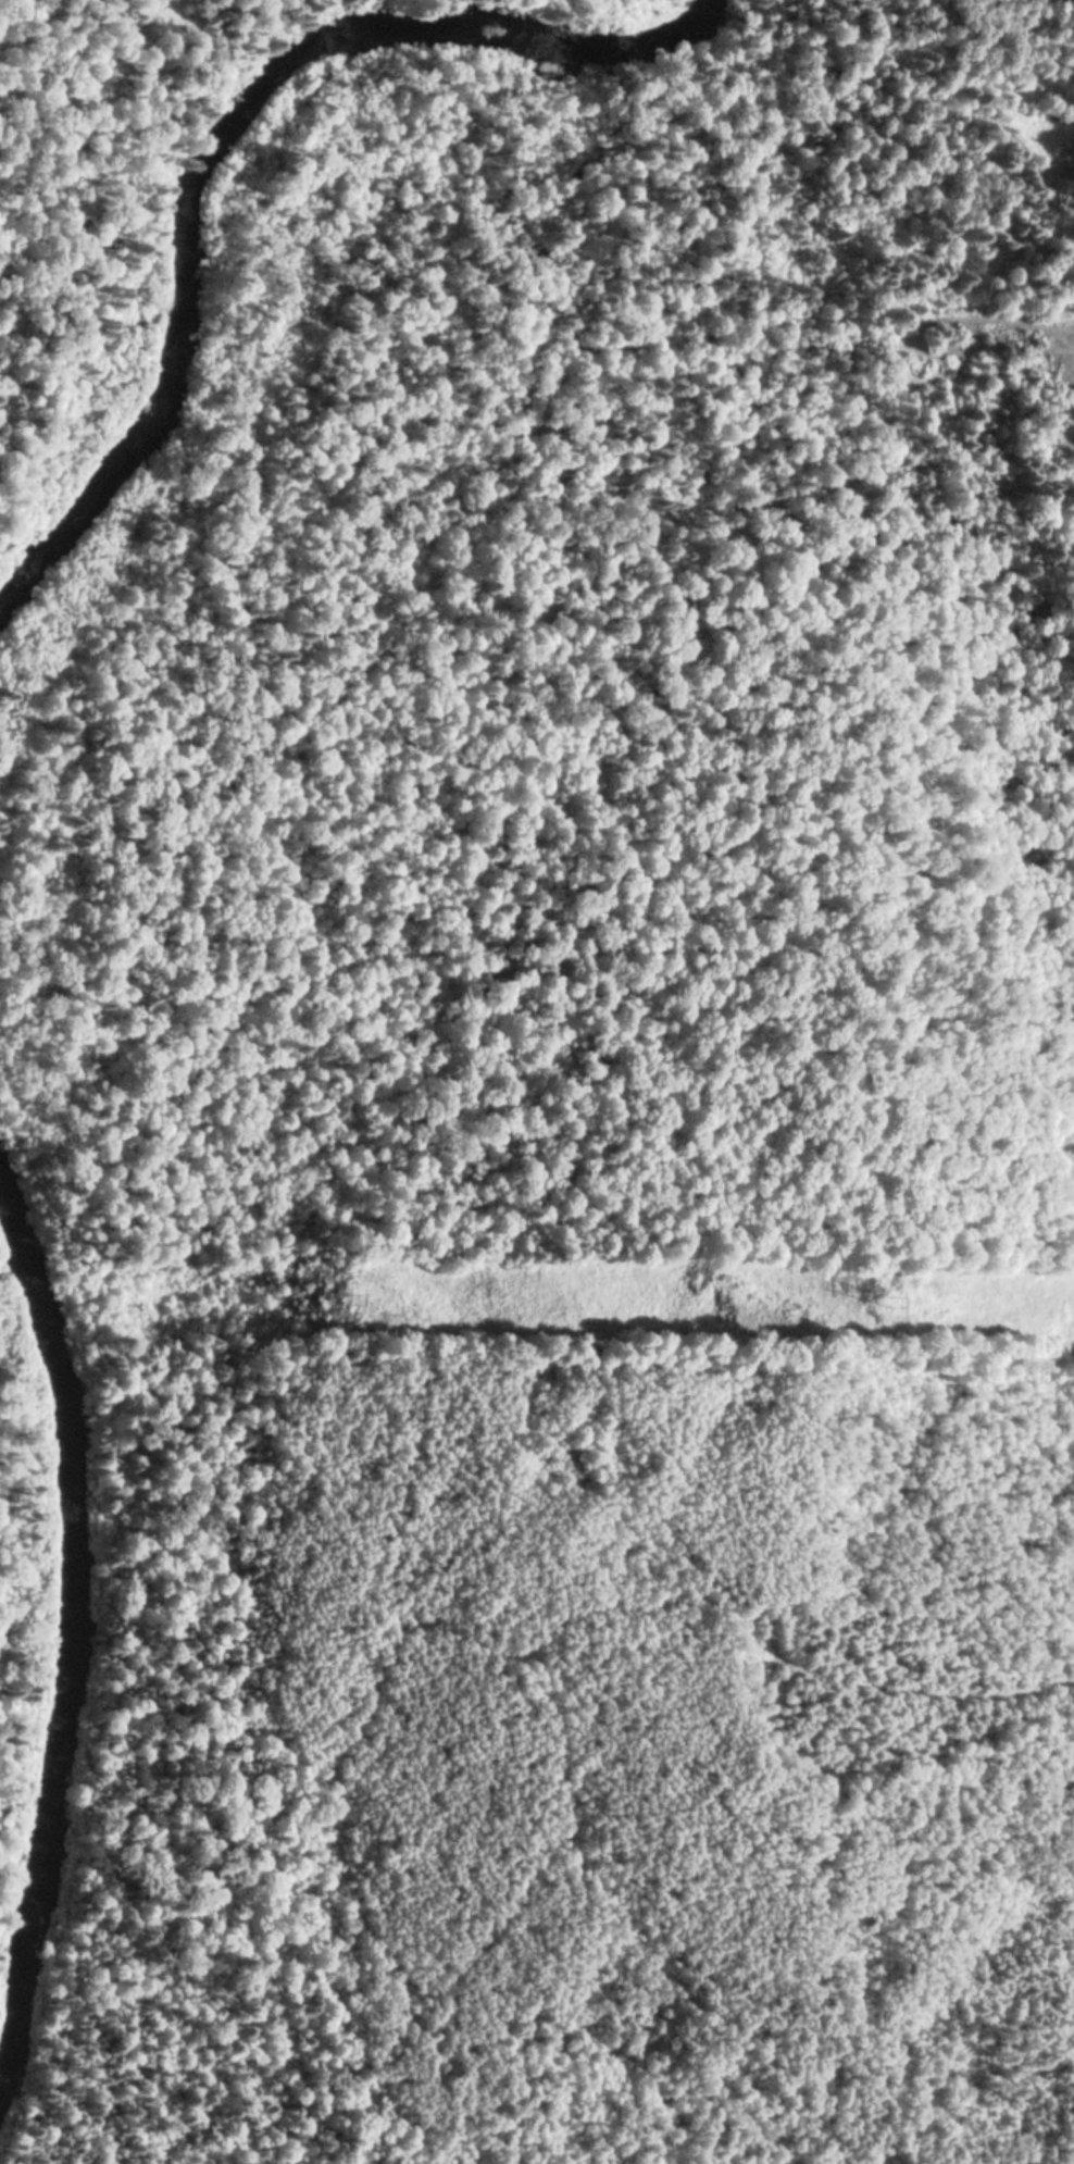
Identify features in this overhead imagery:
river: (613, 38)
river: (164, 210)
power tower: (332, 1301)
power tower: (886, 1304)
river: (41, 1643)

